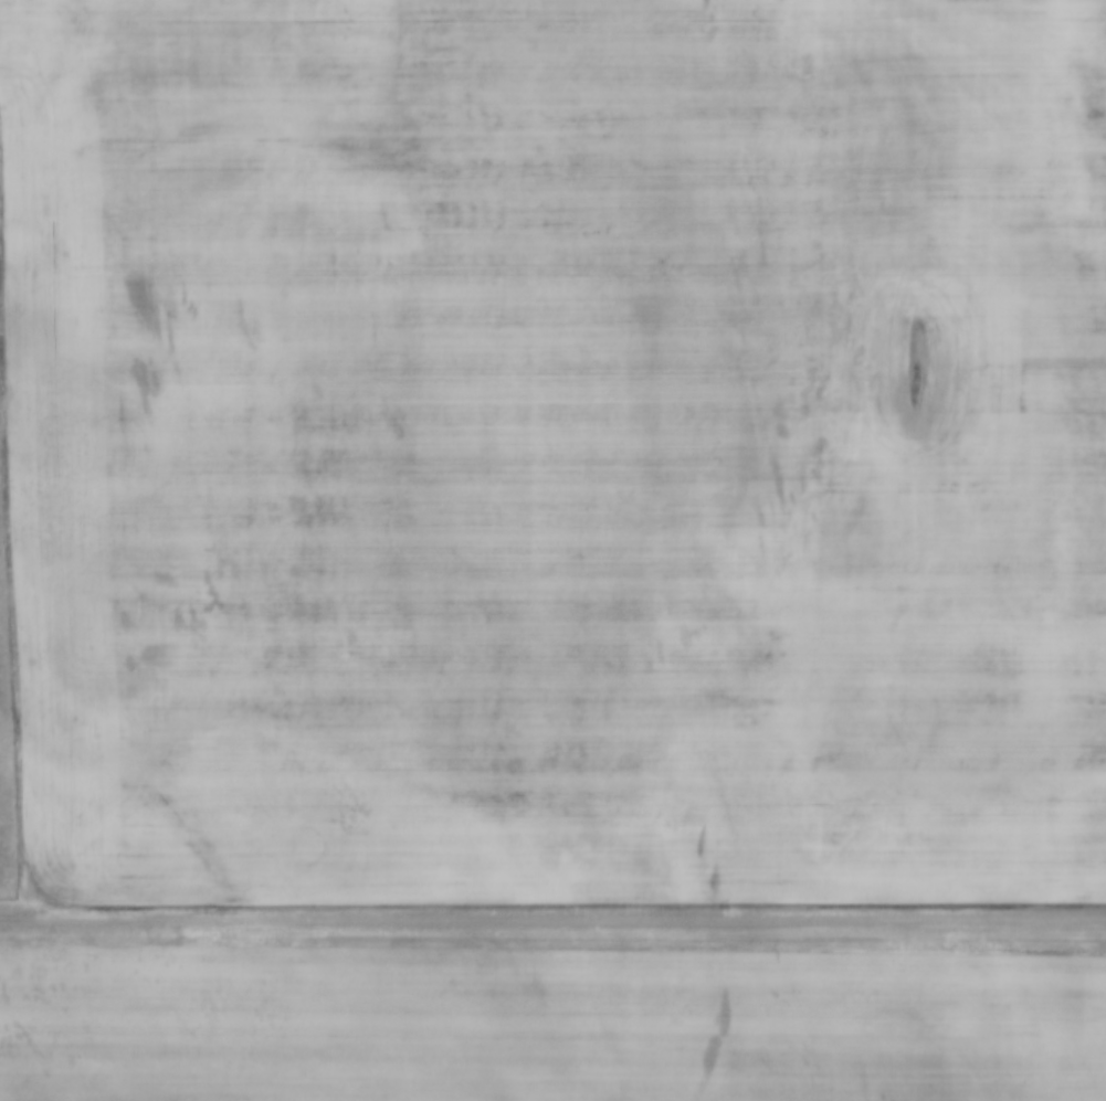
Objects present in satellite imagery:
road: (552, 920)

